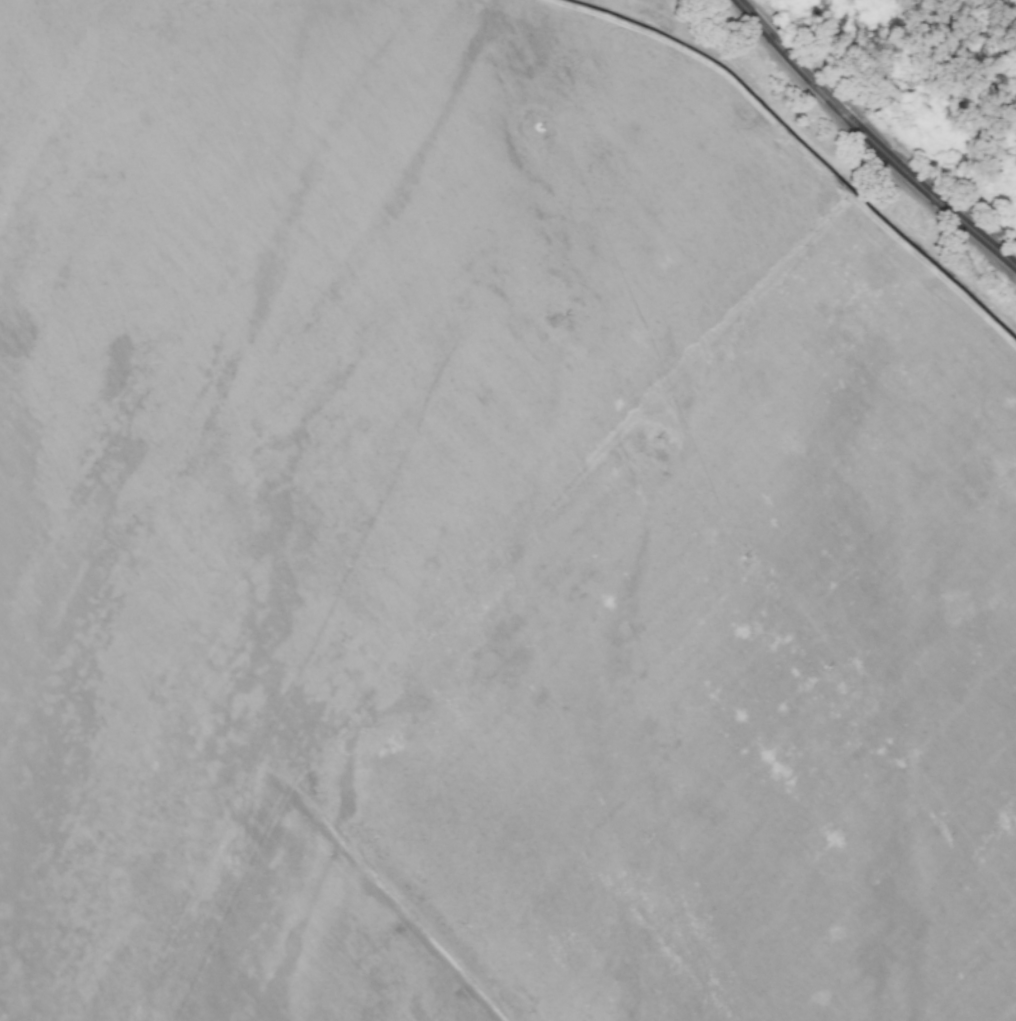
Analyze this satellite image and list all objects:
road: (874, 138)
crop: (487, 531)

